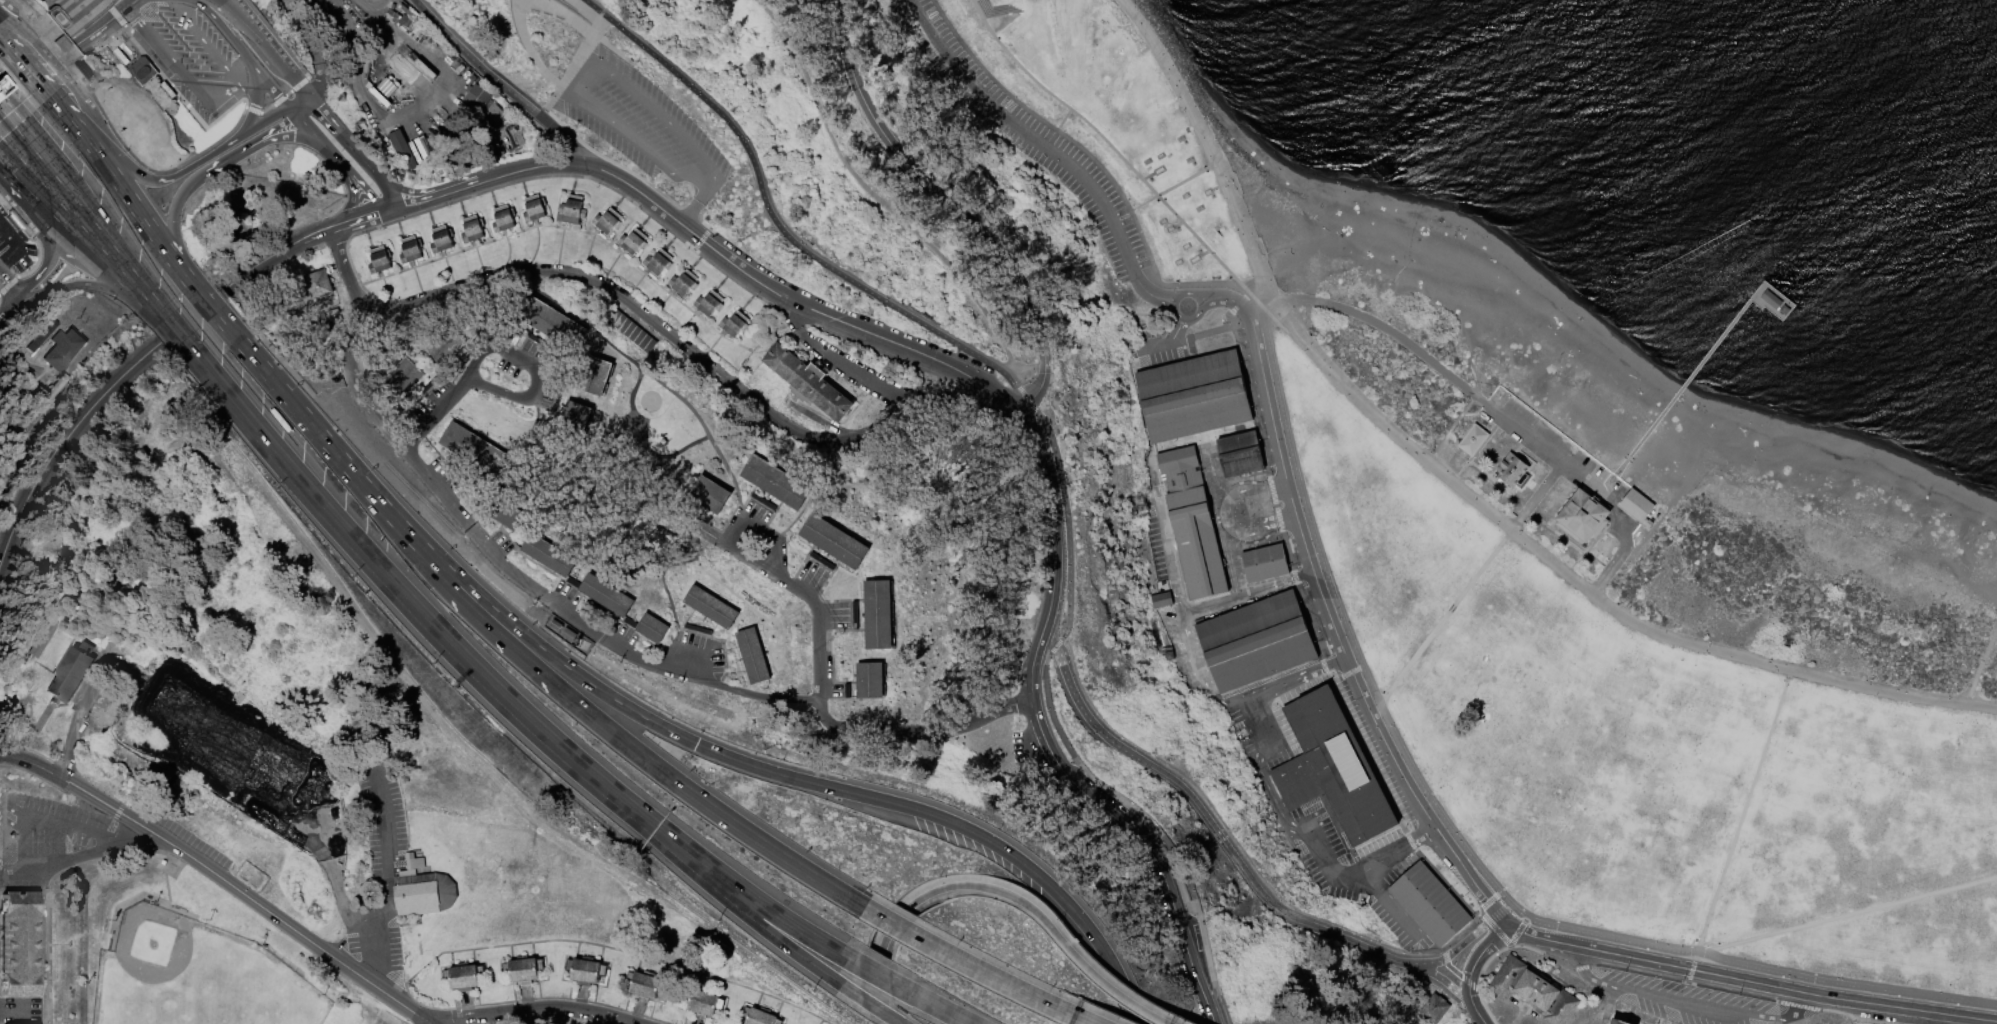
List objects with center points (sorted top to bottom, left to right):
road: (104, 3)
building: (393, 7)
road: (80, 10)
building: (409, 13)
road: (115, 14)
road: (560, 14)
road: (116, 16)
building: (57, 17)
road: (85, 20)
building: (404, 22)
road: (93, 26)
road: (223, 32)
road: (72, 37)
road: (275, 38)
road: (85, 39)
building: (61, 43)
road: (253, 43)
road: (311, 45)
road: (526, 47)
parking lot: (204, 48)
road: (208, 48)
road: (68, 54)
road: (472, 61)
road: (569, 64)
road: (175, 65)
building: (411, 65)
road: (24, 66)
building: (426, 68)
building: (79, 69)
building: (140, 70)
building: (404, 73)
road: (62, 75)
road: (247, 79)
road: (583, 79)
toll booth: (0, 85)
building: (4, 85)
building: (387, 88)
road: (302, 89)
building: (166, 90)
road: (272, 91)
road: (190, 96)
building: (379, 97)
road: (278, 100)
road: (182, 101)
road: (298, 101)
building: (485, 104)
road: (417, 113)
road: (252, 114)
road: (662, 118)
parking lot: (639, 123)
road: (74, 125)
road: (256, 126)
road: (1056, 127)
road: (271, 128)
road: (2, 132)
road: (341, 132)
road: (625, 132)
road: (115, 134)
building: (508, 134)
road: (1029, 134)
building: (448, 135)
road: (290, 136)
parking lot: (1026, 136)
road: (316, 138)
road: (565, 139)
road: (1210, 144)
building: (405, 149)
building: (424, 149)
road: (1116, 153)
road: (21, 154)
road: (33, 158)
road: (62, 162)
road: (209, 167)
road: (28, 177)
road: (163, 180)
road: (693, 181)
road: (402, 188)
road: (462, 189)
road: (1164, 190)
road: (364, 191)
road: (873, 195)
road: (947, 200)
road: (351, 202)
road: (83, 203)
road: (22, 204)
road: (697, 205)
road: (409, 206)
building: (535, 208)
building: (573, 210)
road: (19, 212)
building: (504, 218)
building: (12, 219)
road: (49, 220)
road: (142, 220)
road: (773, 220)
building: (609, 221)
road: (358, 222)
building: (473, 229)
road: (77, 233)
road: (32, 236)
road: (313, 237)
building: (442, 239)
road: (13, 240)
road: (99, 240)
road: (171, 240)
building: (634, 242)
parking lot: (14, 247)
road: (48, 248)
road: (70, 249)
building: (412, 249)
building: (380, 260)
road: (4, 261)
building: (659, 262)
road: (259, 265)
road: (344, 272)
road: (751, 278)
building: (685, 283)
road: (9, 284)
road: (27, 284)
road: (89, 284)
building: (320, 287)
road: (10, 288)
road: (125, 294)
road: (1152, 296)
road: (1176, 299)
building: (1770, 299)
pier: (1770, 301)
building: (710, 303)
road: (1240, 303)
road: (209, 306)
building: (1782, 309)
road: (10, 310)
road: (191, 316)
building: (551, 322)
building: (736, 324)
road: (1375, 325)
road: (1171, 330)
building: (633, 331)
road: (1177, 333)
building: (42, 335)
road: (174, 335)
road: (667, 336)
parking lot: (1154, 340)
building: (442, 344)
road: (1152, 348)
building: (64, 349)
road: (19, 360)
road: (633, 364)
road: (531, 365)
building: (593, 375)
building: (402, 376)
road: (854, 377)
road: (354, 381)
building: (808, 382)
road: (475, 383)
building: (57, 386)
pier: (1680, 387)
road: (1023, 395)
building: (1192, 397)
road: (287, 398)
road: (443, 402)
road: (1021, 407)
road: (1031, 407)
building: (574, 414)
road: (982, 414)
road: (243, 417)
road: (1493, 426)
road: (1526, 434)
road: (409, 435)
road: (1208, 436)
road: (643, 439)
building: (1471, 440)
road: (64, 442)
road: (1479, 446)
building: (472, 449)
road: (1546, 452)
parking lot: (1557, 452)
flagpole: (1567, 454)
building: (1241, 455)
road: (1527, 460)
road: (1453, 462)
road: (1460, 467)
building: (1510, 470)
road: (1491, 479)
building: (775, 482)
road: (1607, 483)
road: (1532, 488)
road: (1269, 490)
road: (1252, 492)
road: (242, 494)
building: (710, 495)
road: (1535, 496)
road: (1604, 497)
building: (763, 502)
building: (1634, 506)
road: (1049, 512)
building: (507, 515)
road: (1222, 515)
building: (1580, 516)
road: (1278, 520)
road: (1550, 523)
building: (1645, 523)
building: (1193, 524)
road: (755, 526)
road: (1653, 527)
road: (1555, 533)
road: (1248, 535)
road: (1595, 537)
building: (834, 542)
road: (1571, 542)
road: (1624, 548)
road: (734, 551)
road: (1559, 553)
building: (550, 556)
park: (895, 560)
road: (1594, 560)
building: (822, 561)
building: (1266, 563)
road: (773, 564)
road: (1173, 585)
road: (1587, 590)
road: (537, 592)
road: (1245, 594)
building: (604, 595)
building: (1159, 600)
road: (812, 604)
road: (1322, 605)
building: (711, 607)
building: (879, 614)
building: (856, 616)
road: (1444, 618)
road: (424, 620)
road: (479, 621)
building: (553, 625)
road: (1043, 628)
building: (653, 629)
road: (1347, 633)
building: (567, 634)
building: (41, 638)
building: (1257, 641)
road: (695, 649)
building: (754, 656)
road: (1979, 663)
road: (818, 665)
road: (1355, 670)
road: (1790, 673)
building: (71, 674)
building: (871, 680)
road: (1280, 685)
road: (592, 686)
road: (766, 697)
road: (72, 731)
road: (919, 733)
road: (1260, 733)
road: (1061, 738)
traffic signals: (694, 744)
road: (579, 768)
building: (1333, 769)
road: (1272, 795)
road: (1099, 808)
road: (1740, 820)
road: (50, 821)
parking lot: (384, 821)
road: (1209, 822)
road: (386, 827)
parking lot: (55, 828)
road: (1225, 828)
road: (747, 834)
road: (1420, 835)
road: (1317, 849)
road: (78, 858)
road: (1376, 862)
parking lot: (1321, 871)
road: (164, 873)
road: (219, 876)
road: (1045, 884)
building: (423, 890)
road: (993, 890)
road: (1386, 902)
building: (1429, 904)
road: (1503, 908)
road: (737, 910)
road: (772, 912)
road: (1847, 916)
road: (1503, 918)
road: (358, 921)
road: (1494, 930)
road: (382, 933)
road: (1492, 939)
road: (879, 943)
building: (20, 944)
road: (59, 944)
road: (48, 945)
road: (1459, 945)
parking lot: (394, 949)
road: (1540, 954)
road: (1444, 957)
road: (966, 965)
road: (1578, 968)
building: (521, 970)
building: (584, 970)
road: (1451, 970)
road: (1759, 970)
road: (1690, 972)
road: (1584, 974)
building: (461, 976)
park: (195, 977)
road: (1467, 977)
road: (1442, 980)
road: (1478, 980)
road: (1681, 982)
road: (1750, 982)
road: (1467, 984)
building: (643, 985)
road: (1112, 991)
building: (1534, 991)
road: (1202, 997)
building: (700, 1001)
parking lot: (1686, 1002)
road: (1684, 1003)
road: (1798, 1006)
road: (533, 1007)
building: (1435, 1009)
road: (14, 1010)
road: (38, 1010)
road: (1837, 1012)
road: (1475, 1013)
road: (1872, 1014)
building: (757, 1016)
road: (1789, 1016)
road: (1931, 1019)
road: (1081, 1020)
building: (1617, 1022)
road: (1867, 1022)
building: (21, 1023)
road: (425, 1023)
road: (426, 1023)
road: (1873, 1023)

